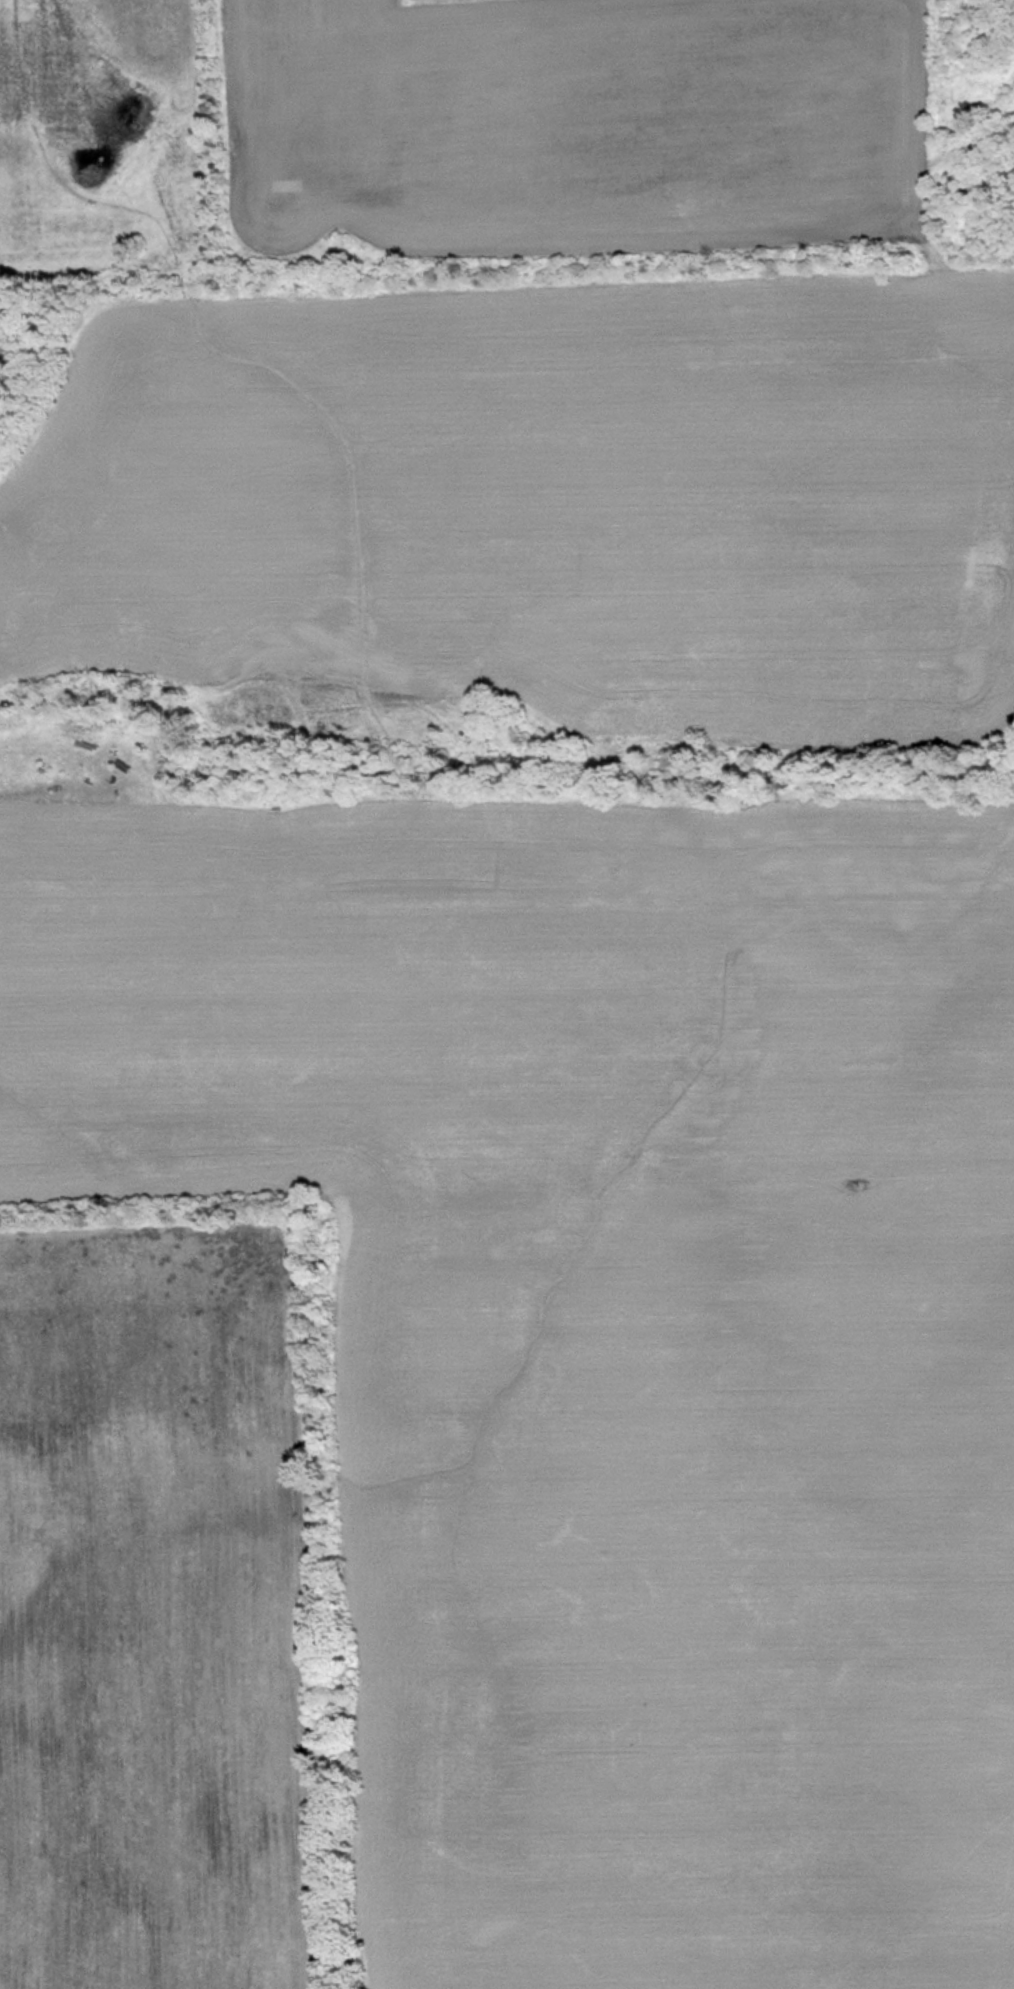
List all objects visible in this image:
road: (637, 320)

